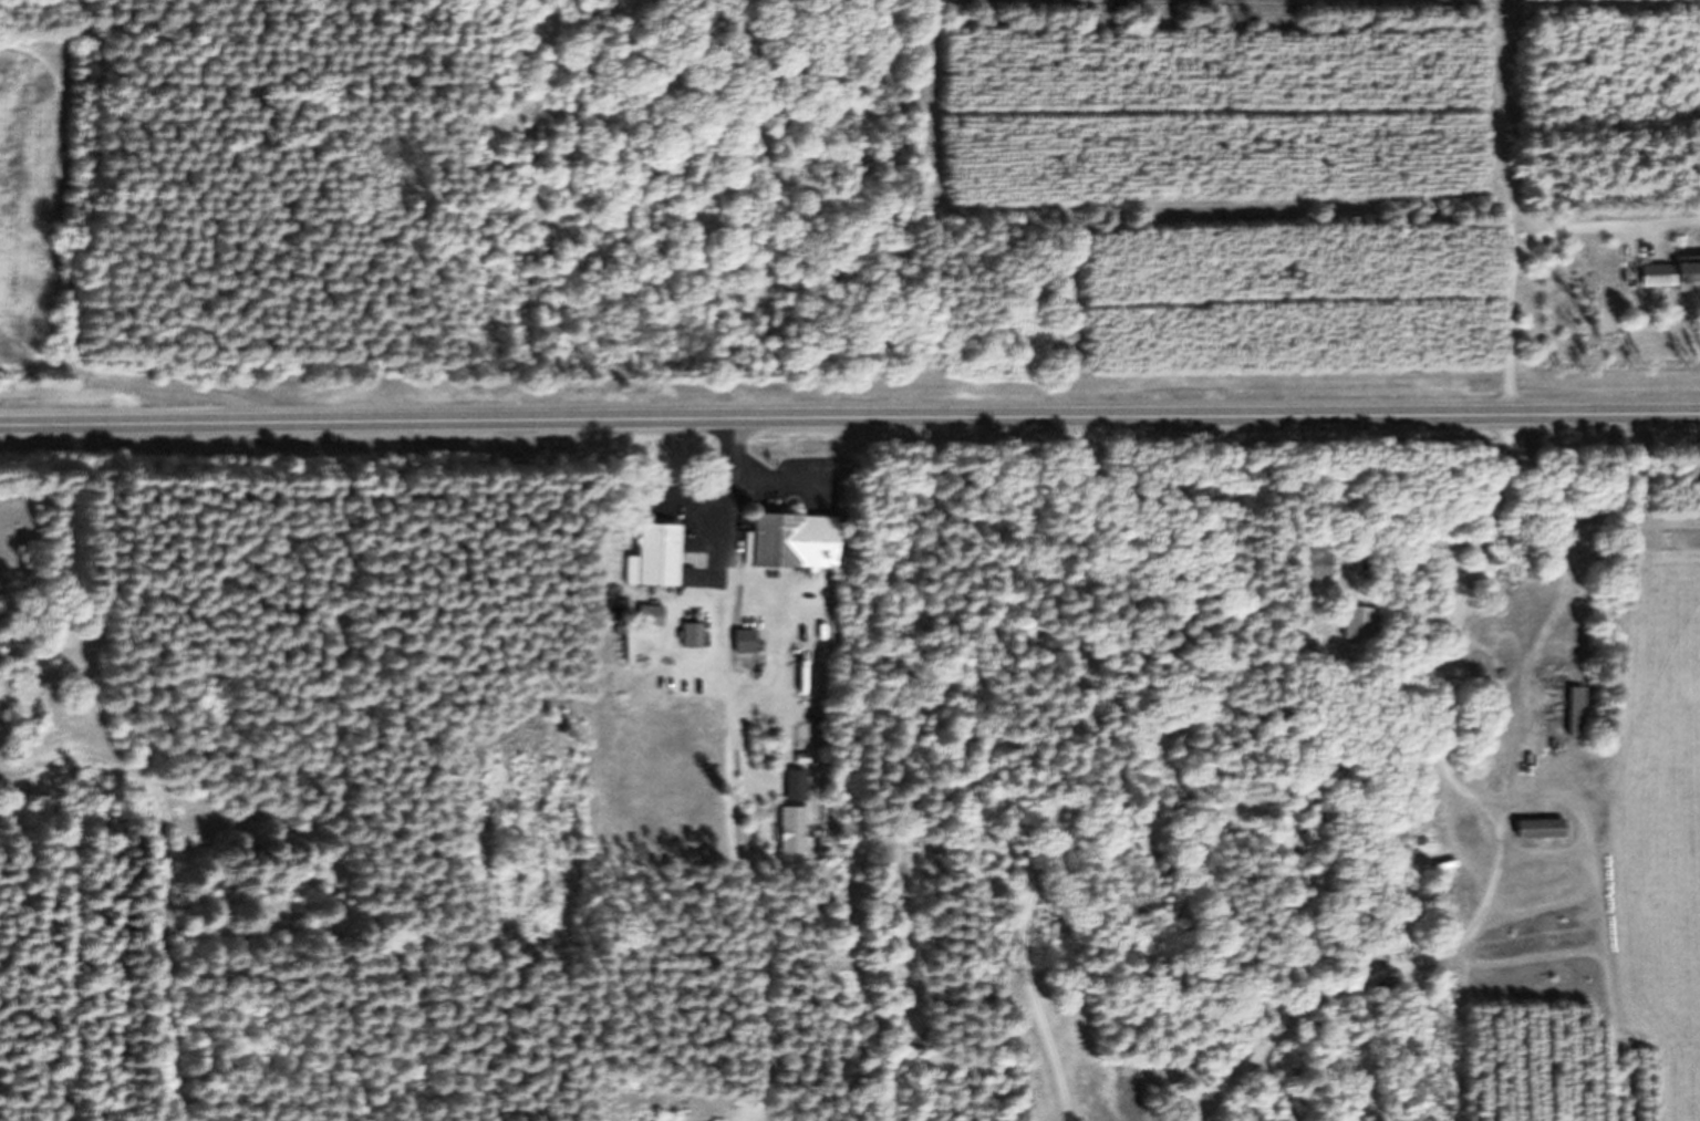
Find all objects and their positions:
building: (1669, 283)
road: (850, 430)
building: (792, 549)
building: (655, 563)
building: (1312, 572)
road: (726, 606)
building: (1358, 631)
building: (743, 648)
building: (1574, 718)
building: (1536, 838)
building: (1383, 954)

